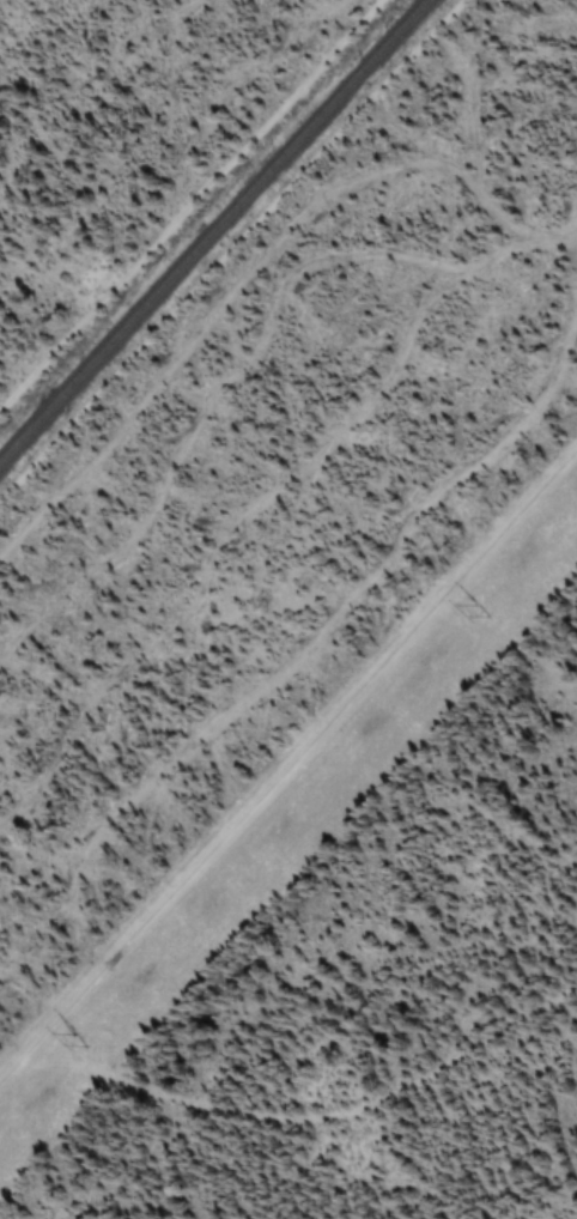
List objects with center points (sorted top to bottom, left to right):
road: (192, 208)
railway: (214, 231)
road: (287, 774)

